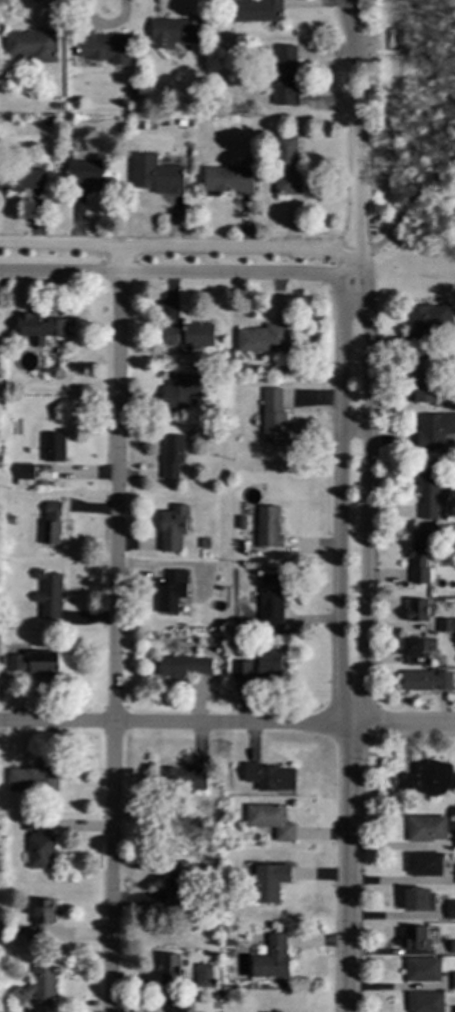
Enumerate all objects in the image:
building: (253, 10)
building: (174, 31)
building: (32, 44)
building: (104, 46)
building: (284, 75)
road: (355, 123)
park: (416, 142)
building: (287, 165)
building: (88, 172)
building: (157, 174)
building: (21, 178)
building: (229, 178)
road: (406, 209)
road: (177, 246)
road: (353, 265)
road: (175, 271)
building: (429, 322)
building: (40, 327)
building: (187, 334)
building: (263, 339)
building: (424, 387)
building: (180, 390)
building: (273, 417)
road: (354, 429)
building: (434, 431)
building: (53, 447)
building: (172, 456)
building: (25, 471)
building: (429, 490)
road: (340, 502)
road: (367, 502)
building: (51, 523)
building: (267, 526)
building: (173, 528)
building: (420, 554)
building: (171, 591)
building: (270, 591)
building: (48, 595)
building: (418, 610)
building: (274, 620)
building: (446, 625)
road: (113, 628)
building: (414, 651)
building: (32, 664)
building: (269, 664)
building: (183, 666)
building: (244, 670)
building: (425, 680)
road: (175, 723)
road: (402, 725)
building: (270, 777)
building: (33, 778)
building: (181, 778)
building: (429, 778)
building: (389, 781)
building: (270, 820)
building: (426, 828)
building: (454, 840)
building: (39, 843)
building: (424, 864)
road: (347, 868)
building: (174, 878)
building: (269, 882)
building: (418, 900)
building: (451, 910)
building: (40, 920)
building: (414, 938)
building: (452, 948)
building: (271, 959)
building: (170, 969)
building: (422, 969)
building: (203, 975)
building: (453, 980)
building: (38, 985)
building: (425, 1002)
building: (454, 1009)

